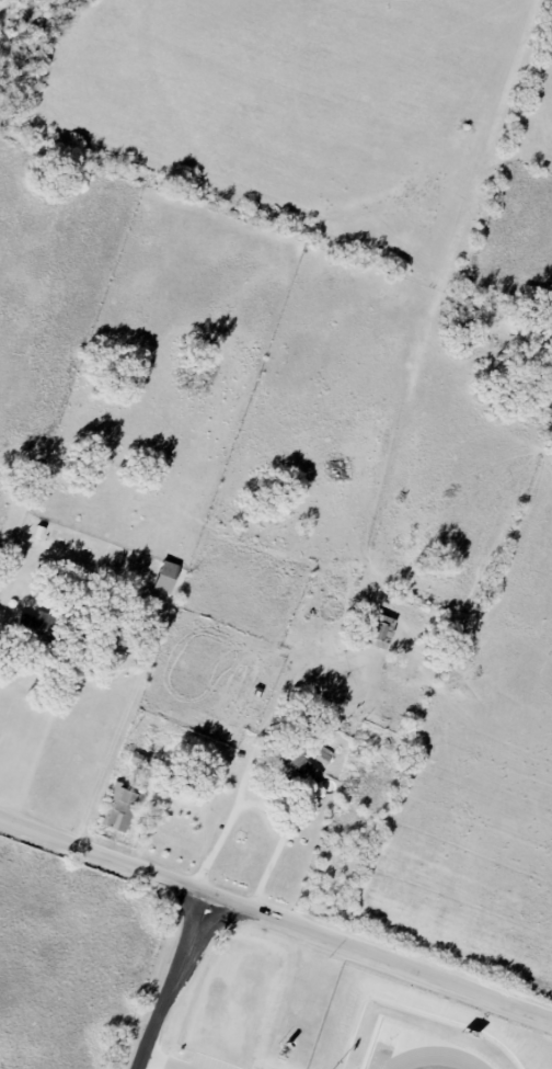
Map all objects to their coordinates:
building: (166, 577)
building: (382, 632)
building: (117, 637)
road: (271, 704)
road: (102, 764)
building: (302, 771)
building: (119, 808)
road: (265, 808)
road: (102, 851)
road: (378, 952)
road: (172, 977)
road: (160, 1062)

